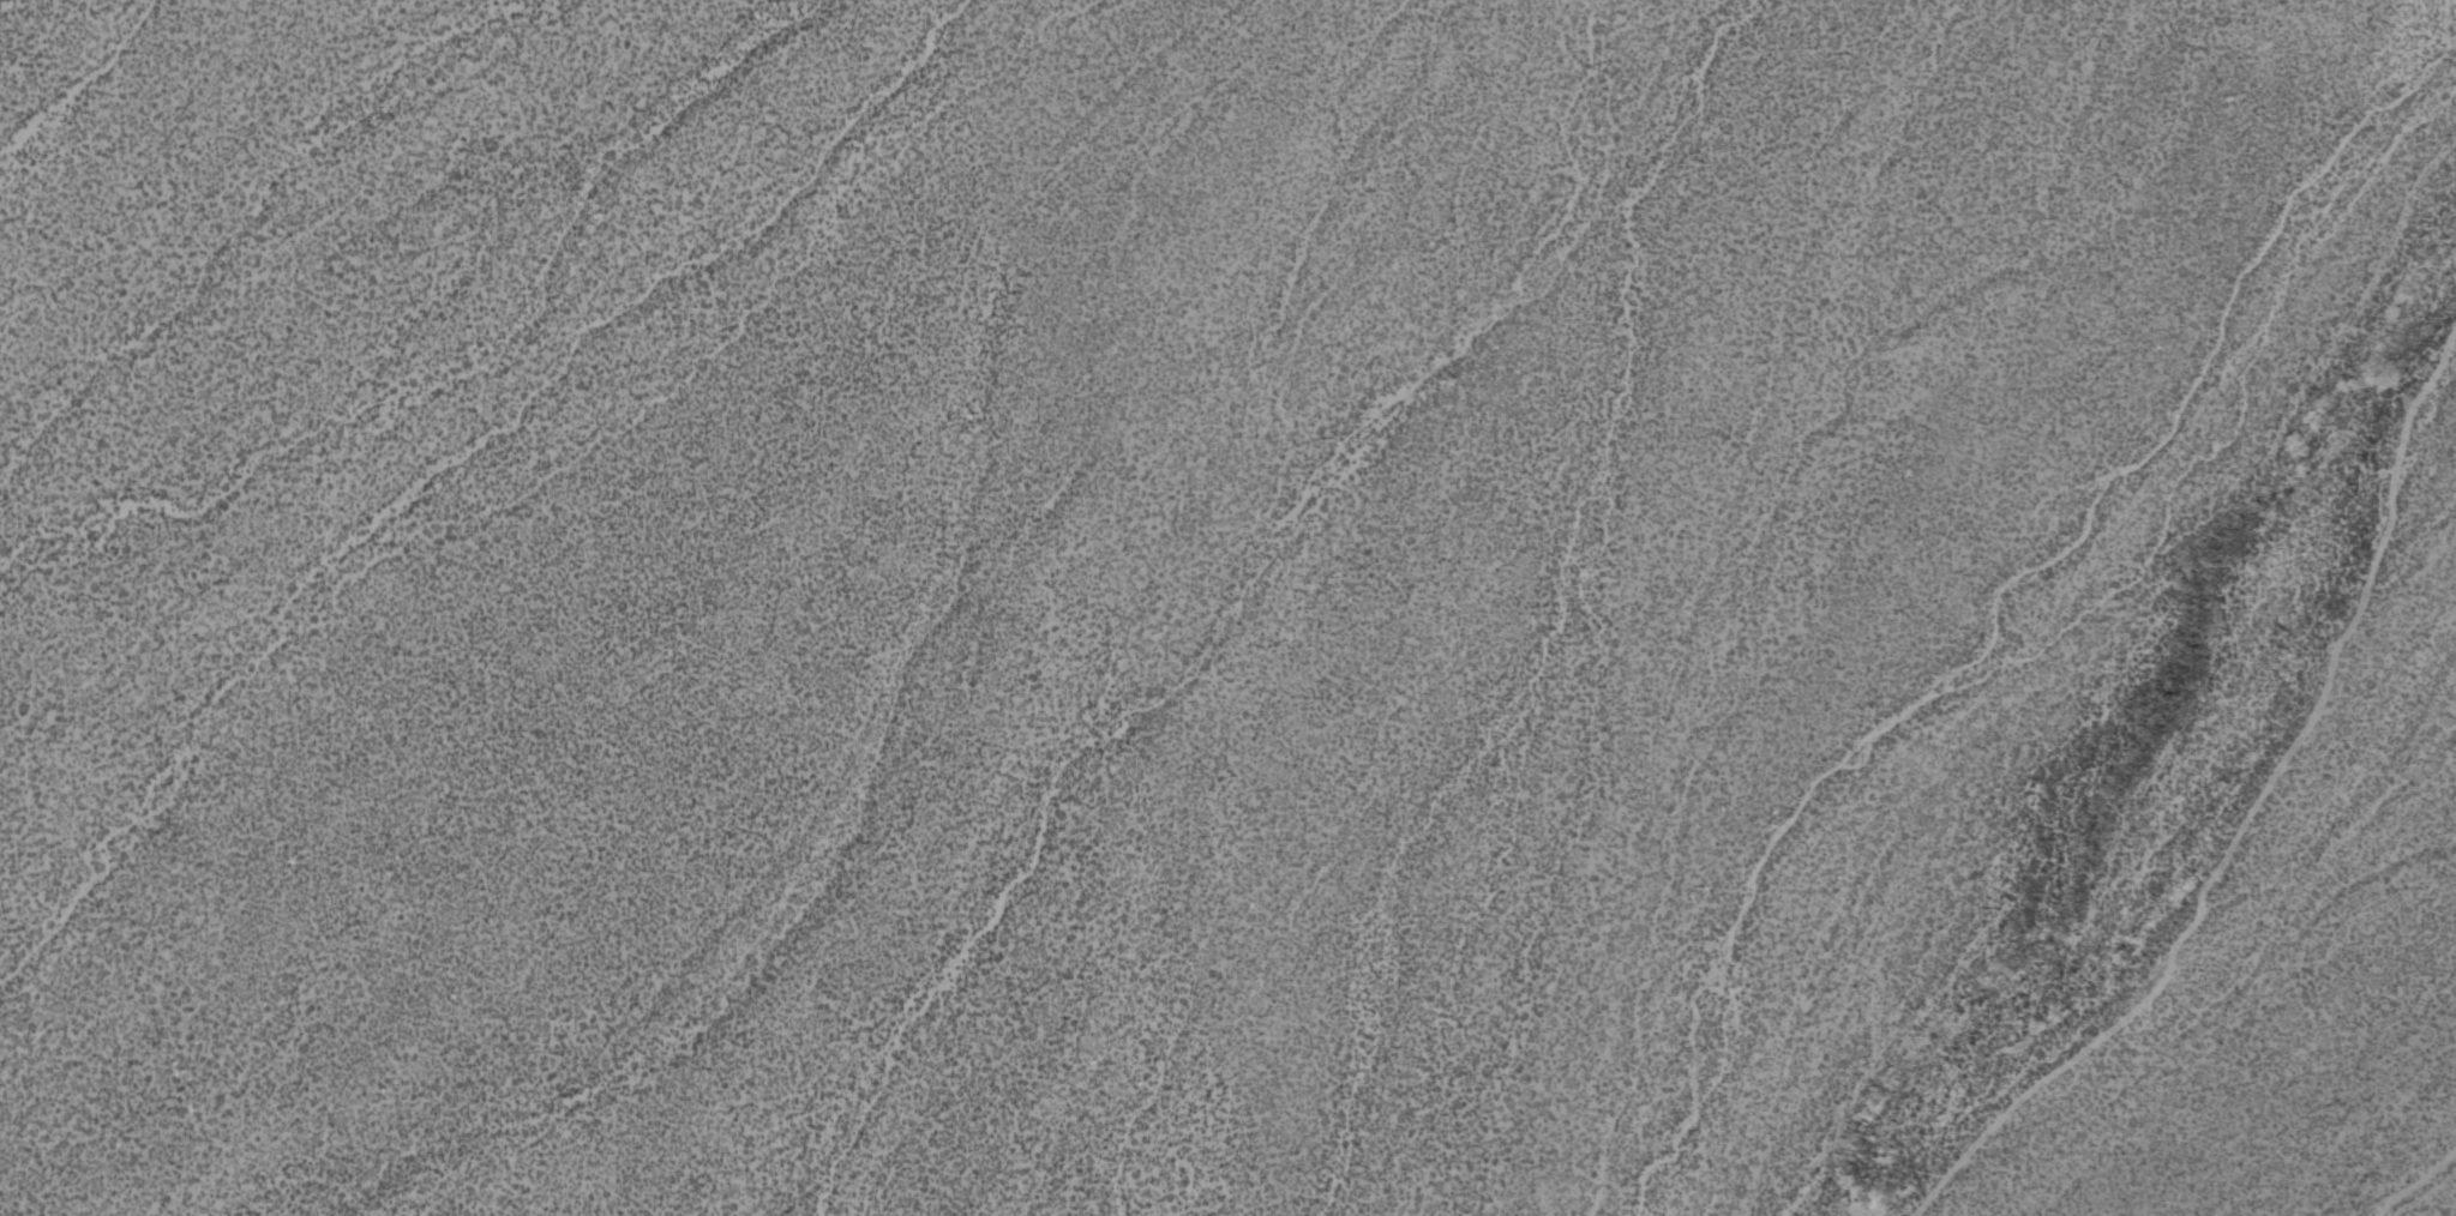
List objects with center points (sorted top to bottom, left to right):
road: (2248, 823)
road: (2421, 1187)

